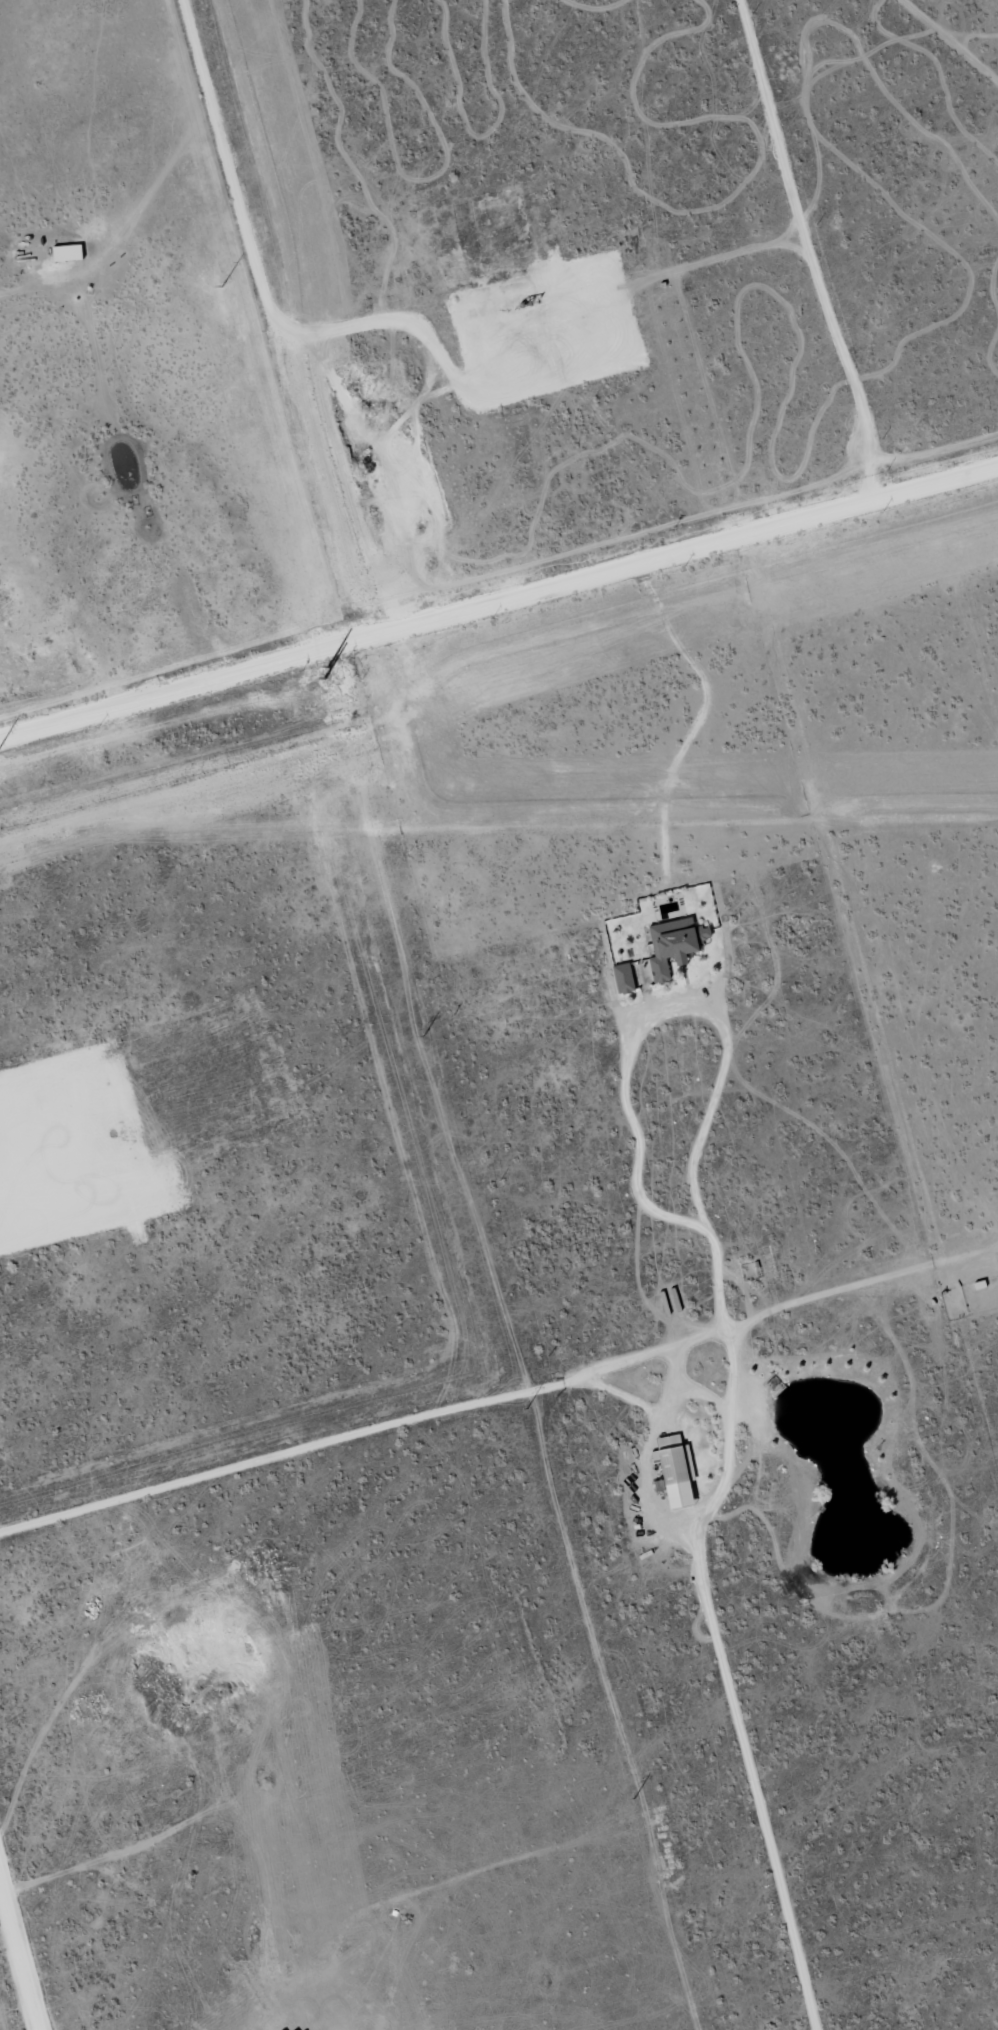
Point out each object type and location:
building: (64, 254)
road: (828, 298)
road: (443, 609)
power tower: (320, 667)
building: (671, 945)
building: (639, 974)
building: (620, 979)
power tower: (423, 1035)
road: (708, 1333)
road: (677, 1384)
road: (705, 1396)
power tower: (525, 1408)
road: (647, 1446)
building: (672, 1471)
power tower: (633, 1797)
road: (19, 1952)
building: (293, 2029)

